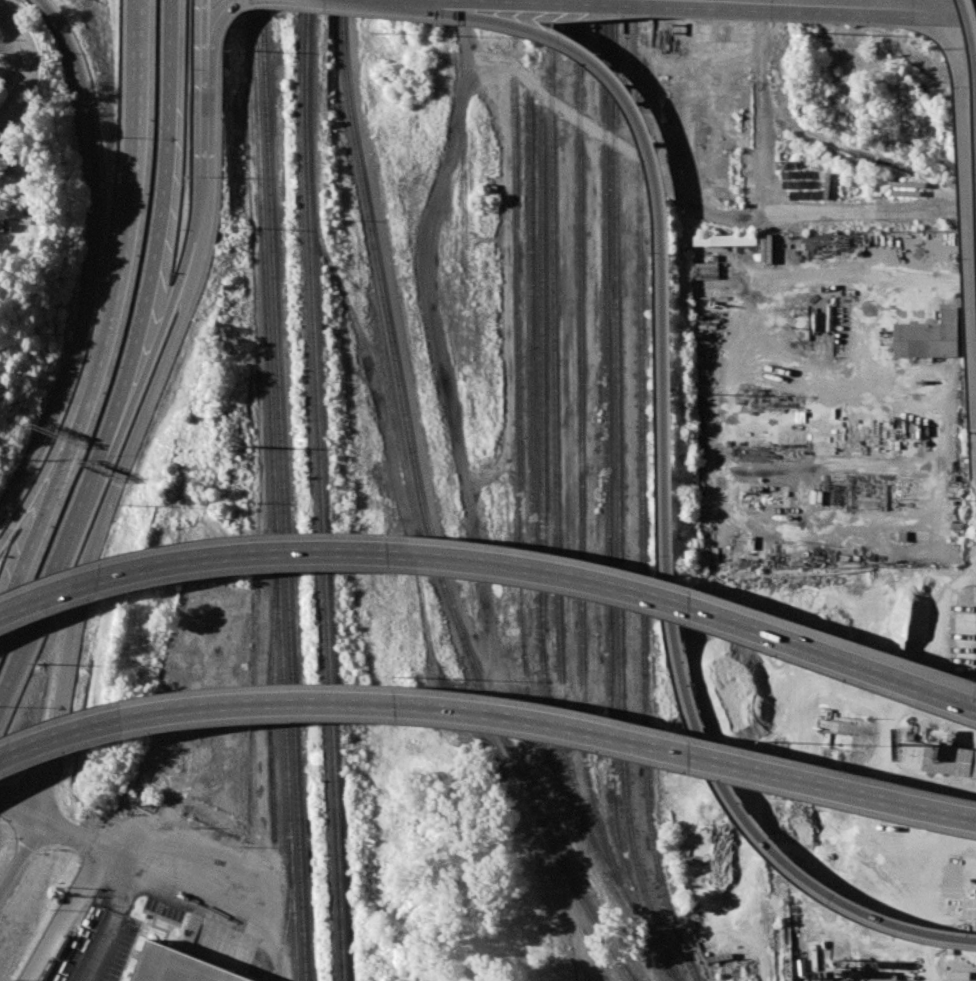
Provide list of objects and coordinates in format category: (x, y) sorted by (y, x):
road: (883, 4)
road: (729, 9)
road: (220, 14)
road: (972, 14)
road: (204, 17)
railway: (511, 42)
road: (14, 46)
road: (32, 66)
road: (763, 109)
road: (205, 130)
road: (598, 130)
road: (128, 200)
road: (967, 206)
road: (873, 214)
road: (660, 216)
building: (2, 225)
building: (725, 240)
building: (906, 244)
road: (96, 266)
road: (164, 328)
building: (930, 337)
road: (131, 366)
railway: (541, 390)
railway: (554, 411)
railway: (581, 460)
road: (47, 469)
railway: (532, 484)
railway: (607, 485)
railway: (275, 490)
railway: (284, 490)
railway: (321, 490)
railway: (617, 494)
railway: (642, 494)
railway: (421, 510)
road: (45, 511)
road: (101, 517)
road: (473, 534)
railway: (520, 551)
road: (494, 561)
railway: (270, 690)
road: (489, 713)
building: (938, 758)
road: (741, 810)
road: (522, 824)
road: (53, 826)
road: (20, 856)
road: (185, 882)
building: (969, 908)
railway: (288, 913)
road: (67, 915)
road: (106, 921)
road: (279, 946)
railway: (55, 955)
building: (182, 966)

